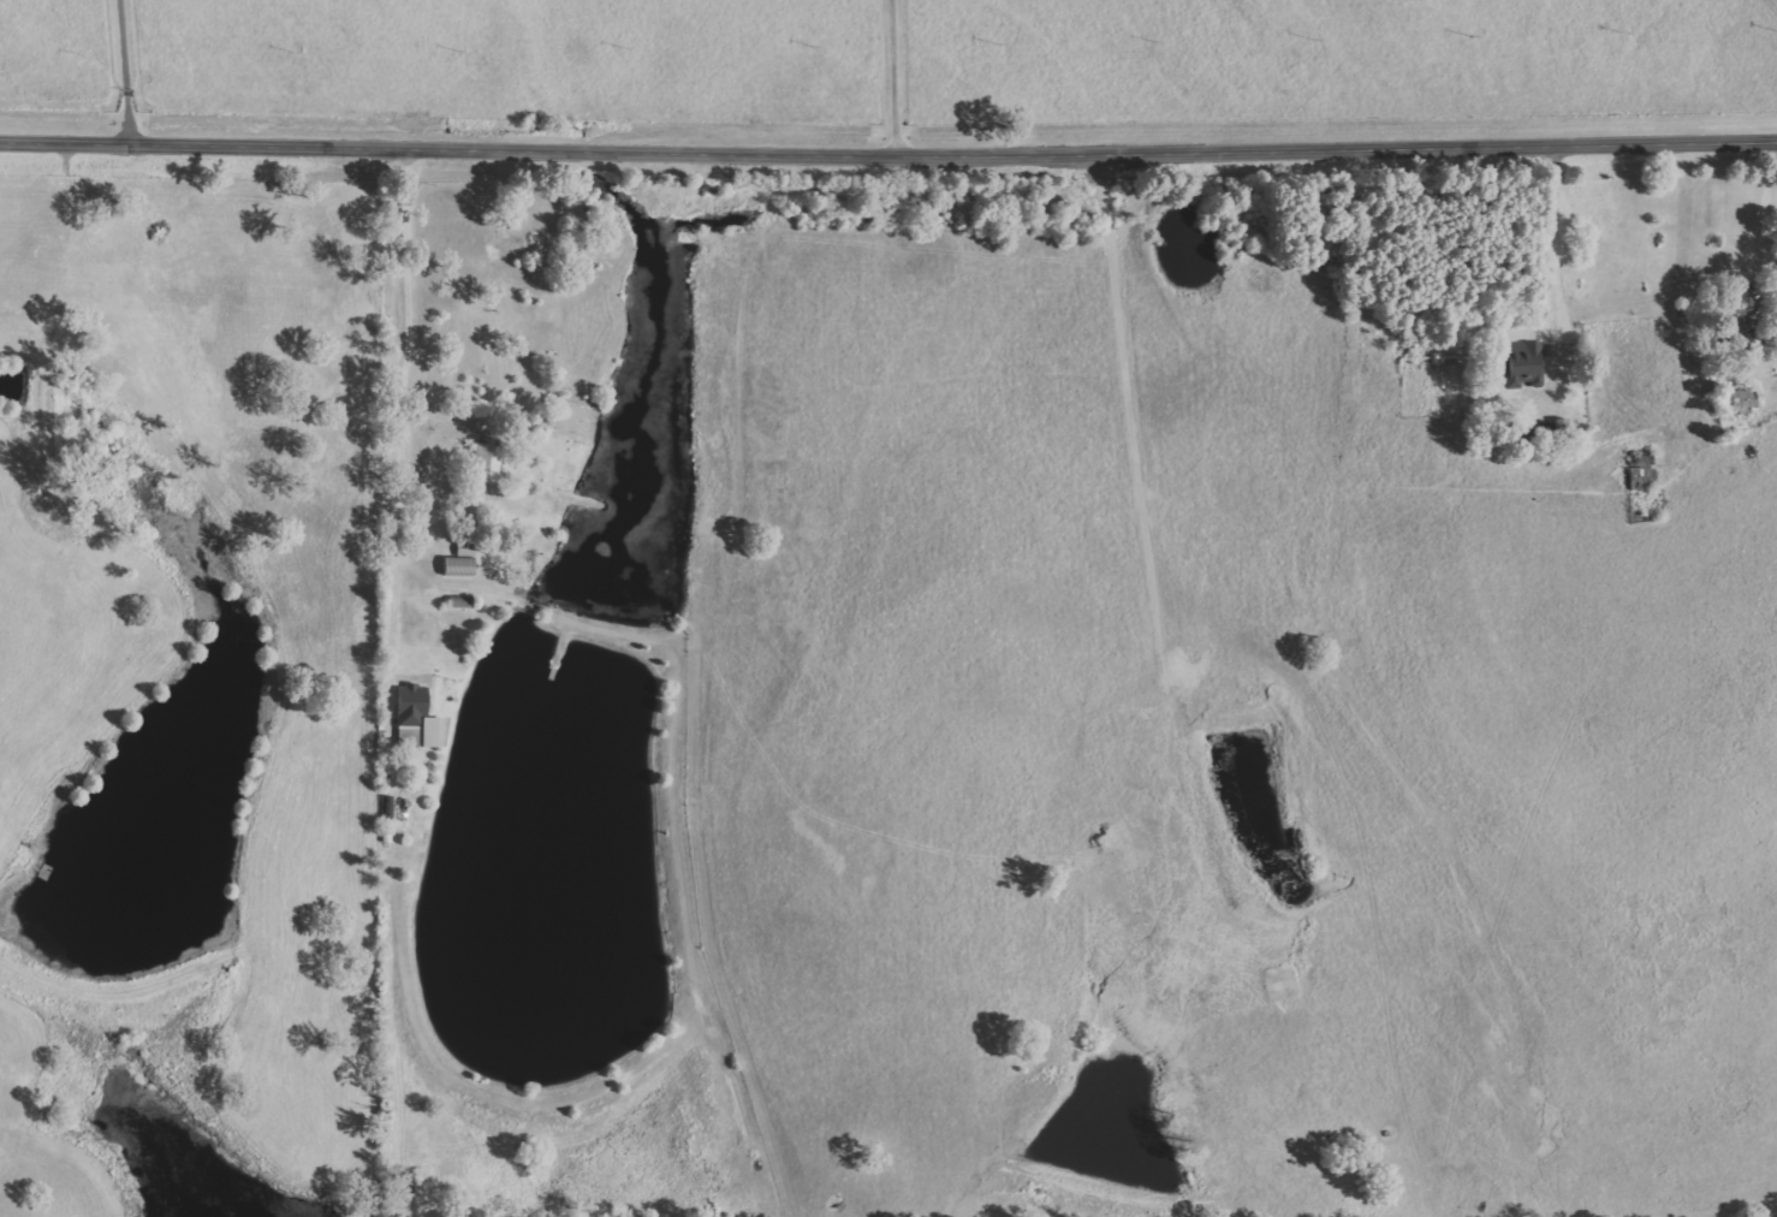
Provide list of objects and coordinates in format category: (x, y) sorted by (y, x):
road: (888, 148)
building: (1523, 361)
building: (497, 462)
building: (464, 565)
building: (421, 719)
building: (390, 807)

